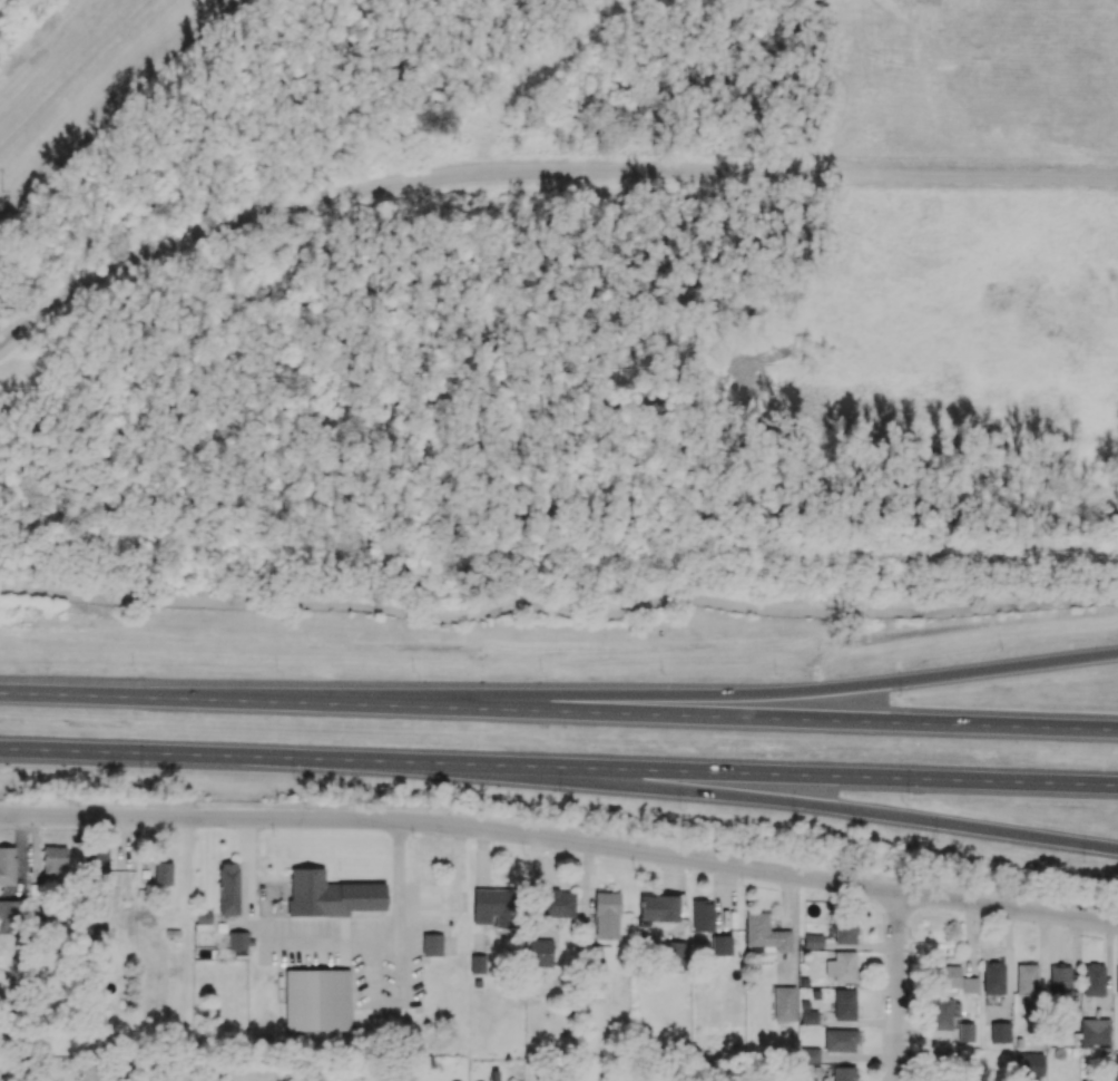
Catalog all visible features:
road: (73, 74)
road: (539, 172)
road: (558, 612)
road: (785, 694)
road: (558, 711)
road: (558, 768)
road: (802, 806)
road: (561, 840)
building: (53, 859)
building: (99, 863)
building: (7, 866)
building: (163, 874)
building: (228, 889)
road: (457, 894)
building: (331, 896)
building: (9, 917)
building: (237, 941)
road: (326, 942)
road: (895, 986)

